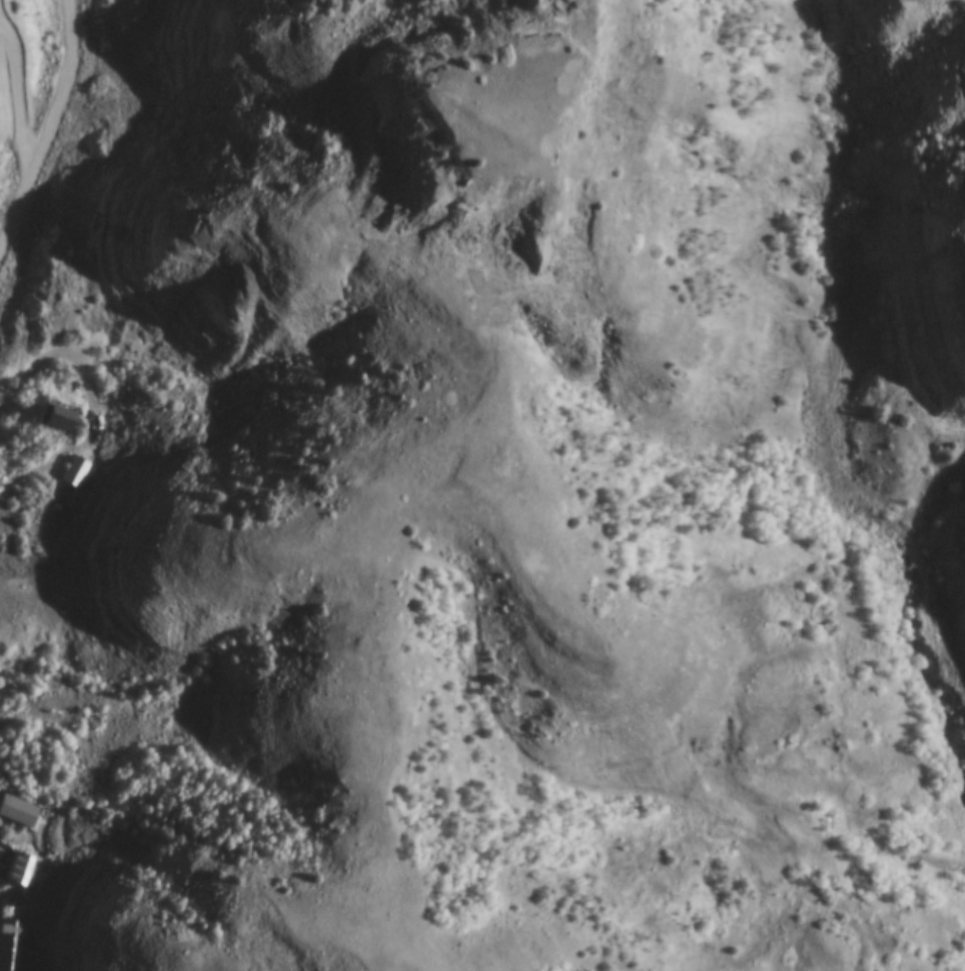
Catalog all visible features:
road: (55, 138)
road: (70, 352)
building: (54, 418)
road: (372, 667)
road: (557, 777)
building: (19, 814)
building: (11, 954)

